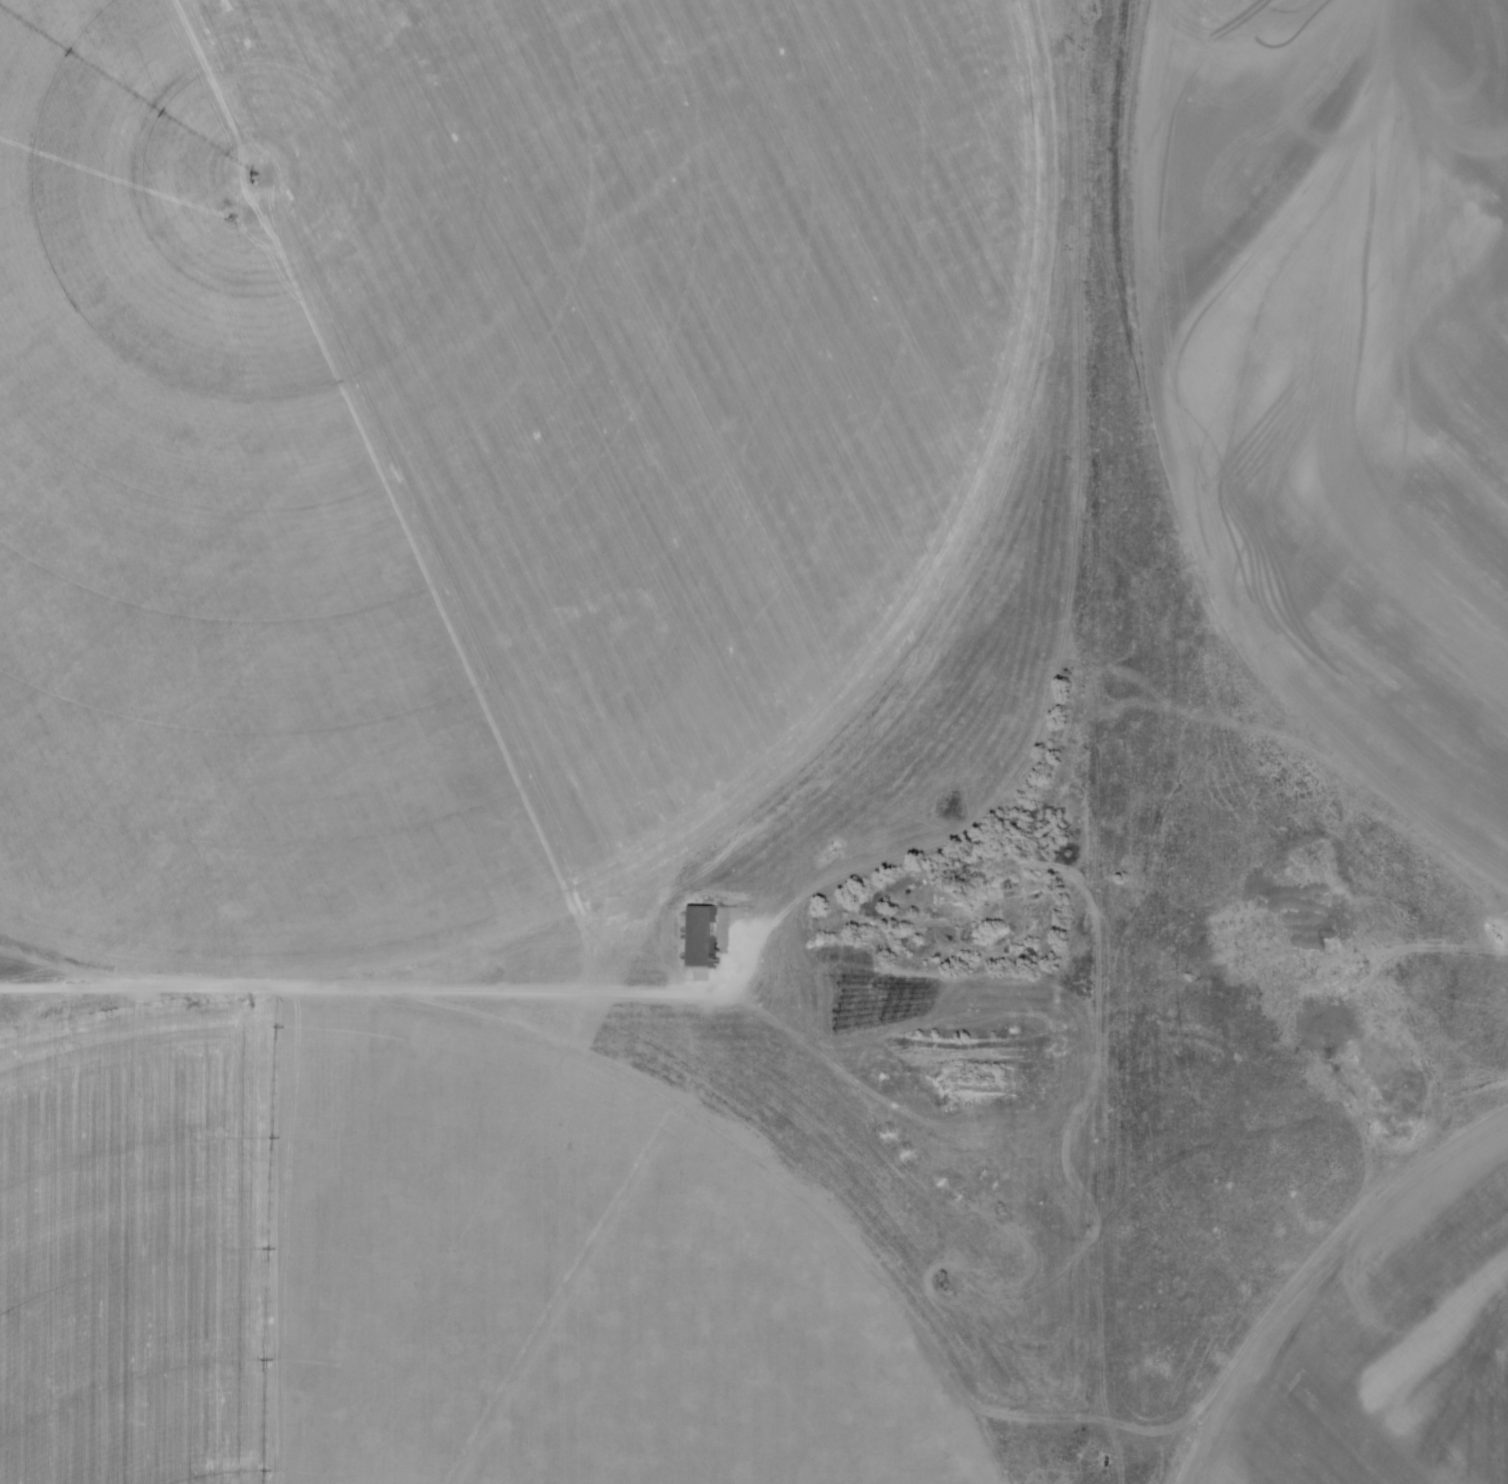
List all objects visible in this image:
road: (362, 993)

